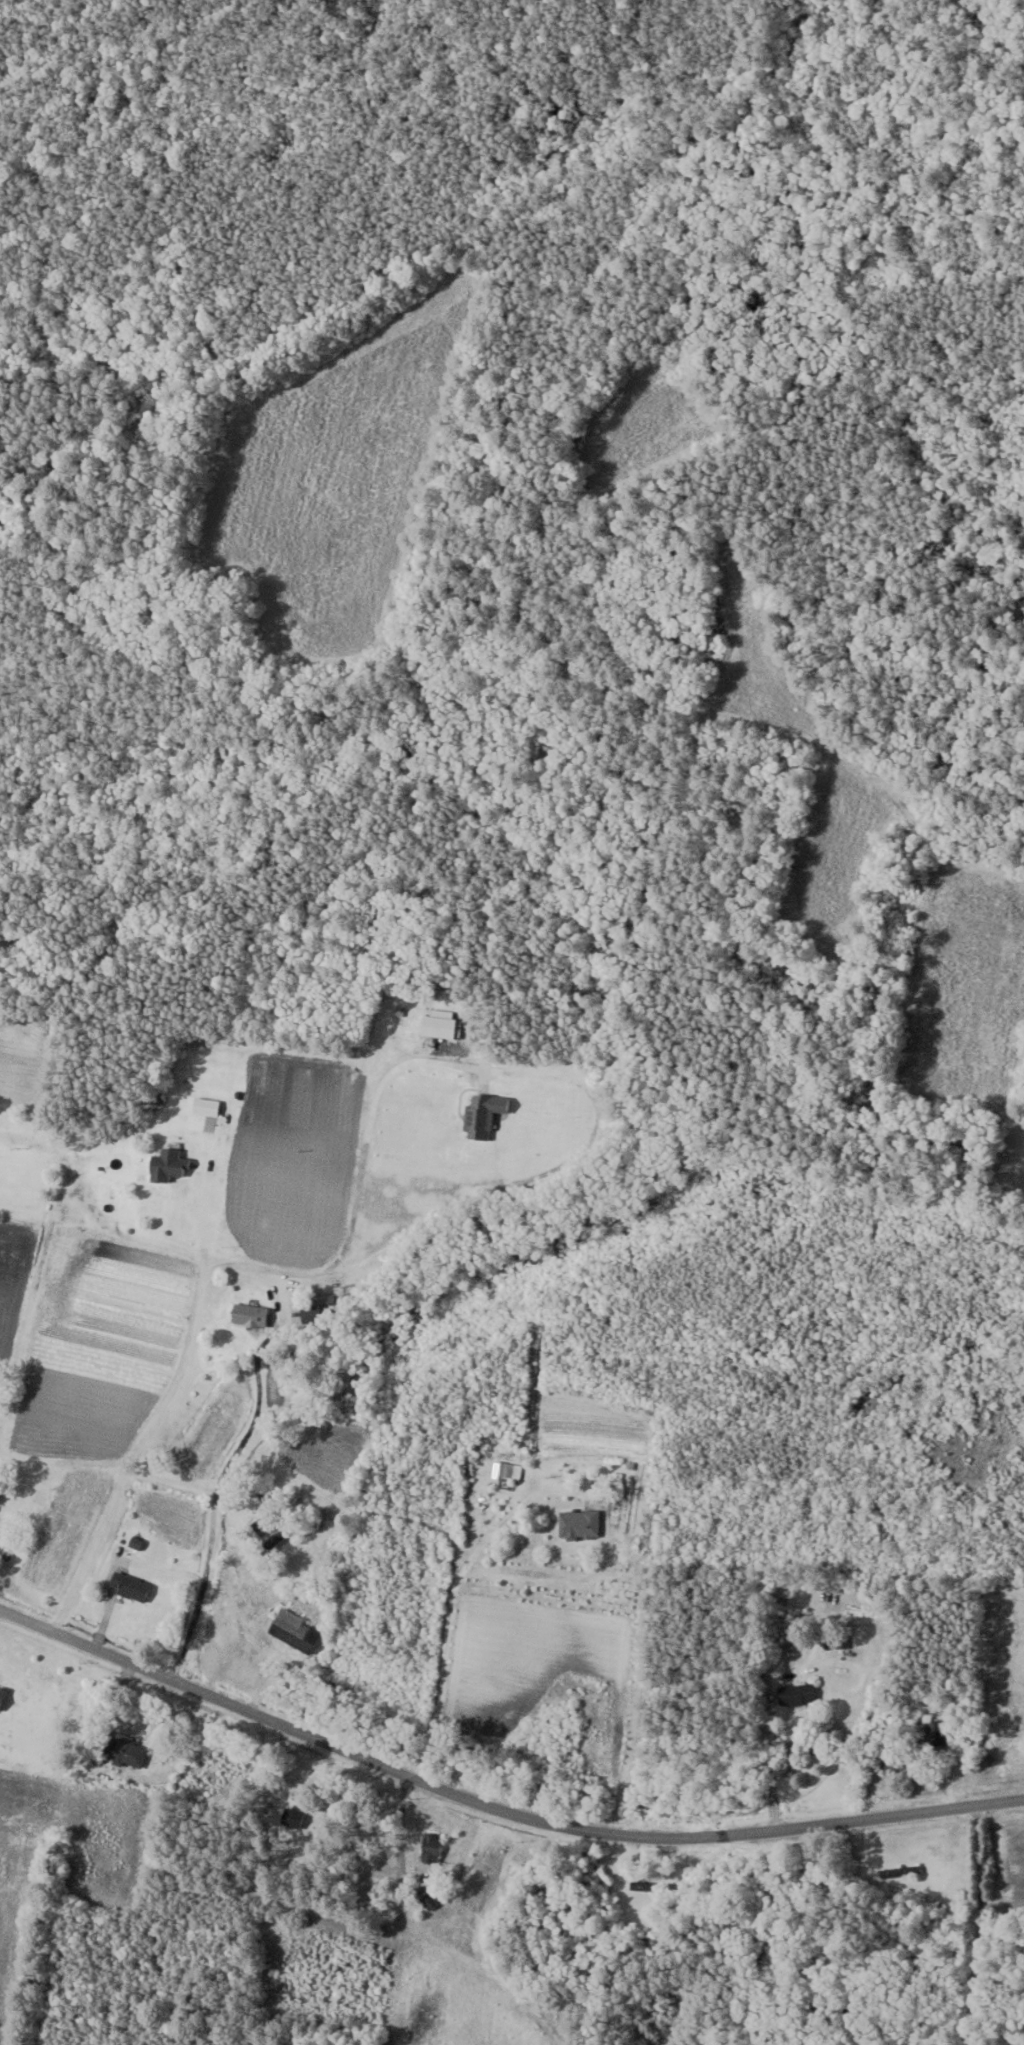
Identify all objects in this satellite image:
building: (406, 1012)
building: (438, 1026)
building: (167, 1174)
road: (229, 1270)
building: (249, 1314)
building: (503, 1469)
road: (218, 1491)
building: (579, 1524)
building: (128, 1586)
road: (450, 1598)
building: (295, 1630)
building: (836, 1638)
building: (796, 1694)
building: (2, 1695)
building: (937, 1734)
building: (125, 1752)
road: (771, 1764)
road: (495, 1809)
building: (431, 1847)
building: (905, 1871)
road: (1001, 1874)
building: (650, 1886)

